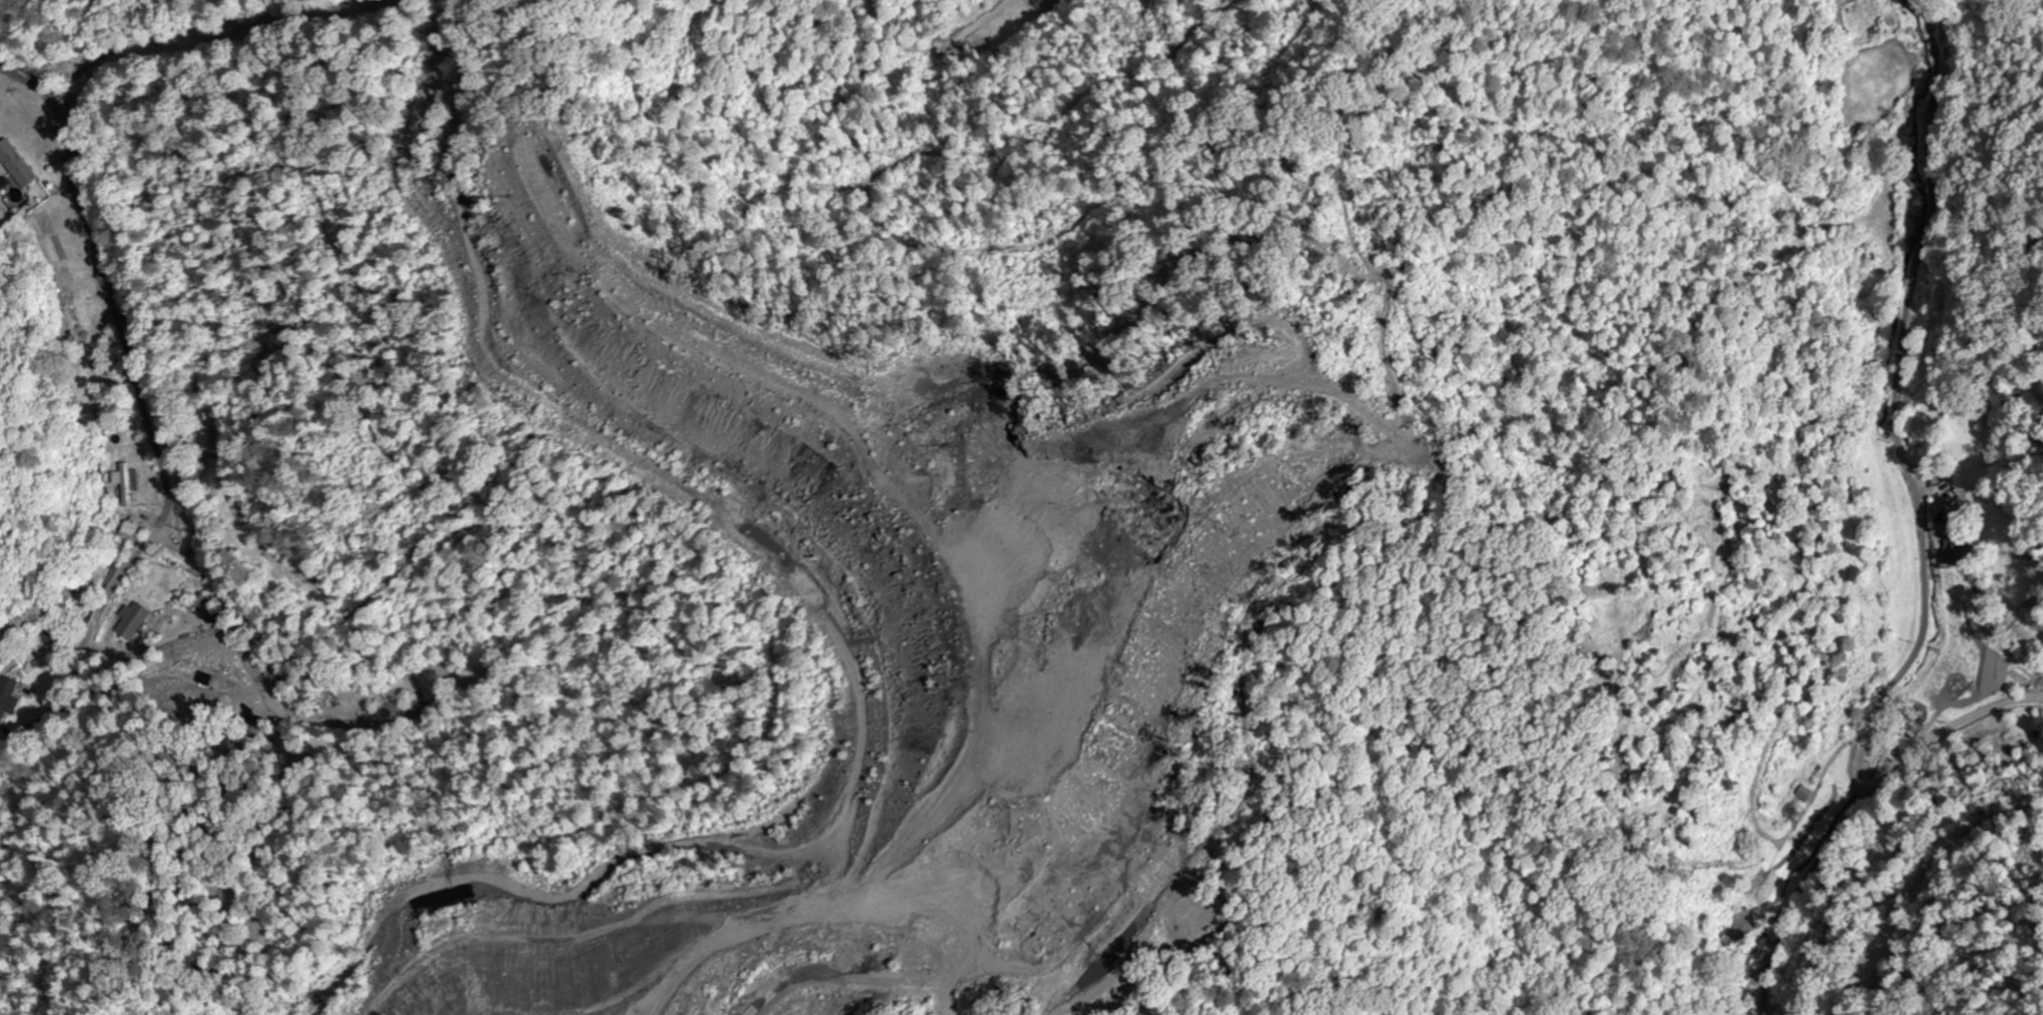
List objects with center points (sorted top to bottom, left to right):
building: (15, 165)
building: (79, 316)
building: (198, 414)
road: (140, 422)
building: (127, 485)
road: (1920, 528)
building: (128, 532)
building: (1953, 551)
road: (1986, 583)
building: (131, 623)
building: (42, 637)
building: (8, 701)
building: (1798, 798)

